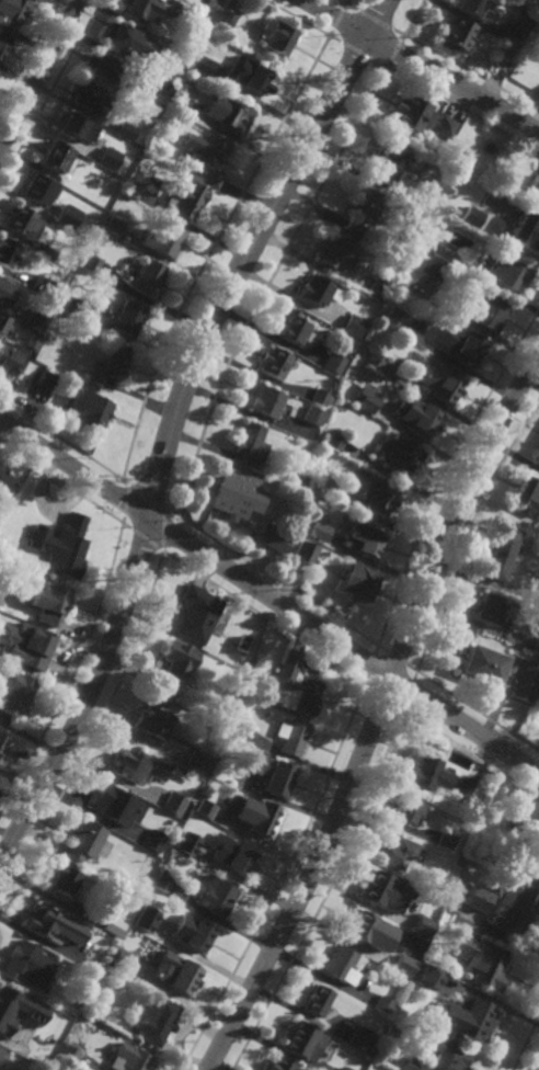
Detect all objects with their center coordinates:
building: (470, 5)
building: (210, 7)
building: (137, 8)
building: (529, 9)
building: (12, 11)
building: (226, 15)
building: (520, 20)
building: (192, 22)
building: (455, 33)
building: (276, 35)
building: (124, 39)
building: (4, 43)
building: (505, 52)
building: (182, 57)
road: (422, 65)
building: (199, 68)
building: (104, 70)
road: (41, 75)
building: (251, 78)
building: (152, 80)
building: (89, 94)
building: (182, 102)
building: (228, 112)
building: (421, 116)
building: (76, 127)
building: (125, 130)
building: (57, 157)
building: (108, 157)
building: (204, 158)
building: (388, 159)
building: (135, 185)
building: (38, 189)
building: (535, 192)
building: (88, 194)
building: (408, 196)
building: (185, 198)
building: (364, 207)
building: (68, 216)
building: (472, 217)
building: (24, 223)
building: (114, 226)
building: (531, 239)
building: (168, 240)
building: (429, 242)
building: (46, 251)
building: (9, 252)
building: (335, 253)
building: (92, 264)
building: (435, 269)
building: (507, 274)
building: (149, 277)
building: (37, 283)
building: (377, 289)
building: (316, 291)
building: (5, 293)
building: (73, 306)
building: (490, 312)
building: (129, 318)
building: (395, 319)
building: (36, 321)
building: (3, 323)
building: (354, 326)
building: (293, 328)
building: (34, 341)
building: (465, 346)
building: (11, 358)
building: (376, 360)
building: (275, 363)
building: (335, 363)
building: (111, 366)
building: (47, 379)
building: (440, 380)
building: (353, 394)
building: (320, 397)
building: (366, 399)
building: (267, 401)
building: (89, 408)
building: (313, 416)
building: (421, 417)
road: (172, 423)
building: (335, 442)
building: (250, 444)
building: (400, 454)
building: (537, 455)
building: (537, 459)
building: (4, 480)
building: (322, 482)
building: (527, 491)
building: (382, 498)
building: (229, 502)
traffic signals: (149, 517)
building: (309, 525)
building: (273, 537)
building: (368, 540)
building: (60, 543)
building: (498, 550)
building: (305, 553)
building: (347, 581)
road: (269, 595)
building: (49, 601)
road: (100, 603)
building: (489, 607)
building: (197, 613)
building: (242, 644)
building: (31, 645)
building: (536, 646)
building: (483, 663)
building: (175, 665)
building: (528, 681)
building: (296, 686)
building: (15, 692)
road: (376, 714)
building: (222, 716)
building: (152, 720)
building: (243, 733)
building: (290, 737)
building: (2, 741)
building: (195, 761)
building: (128, 765)
building: (271, 773)
building: (431, 773)
building: (108, 800)
building: (172, 804)
building: (200, 807)
building: (409, 807)
building: (259, 819)
building: (526, 826)
building: (447, 840)
building: (85, 841)
building: (152, 841)
building: (183, 845)
building: (395, 851)
building: (237, 858)
building: (462, 862)
building: (525, 867)
building: (65, 880)
building: (161, 881)
building: (375, 886)
building: (177, 893)
building: (215, 895)
building: (475, 899)
building: (513, 906)
building: (43, 921)
building: (142, 925)
building: (358, 925)
building: (114, 929)
building: (421, 931)
building: (196, 936)
building: (121, 959)
building: (22, 961)
building: (483, 961)
building: (94, 966)
building: (340, 966)
building: (406, 972)
building: (176, 974)
building: (431, 977)
building: (317, 1001)
building: (383, 1005)
building: (18, 1011)
building: (467, 1018)
building: (158, 1023)
building: (362, 1039)
building: (302, 1041)
building: (67, 1054)
building: (2, 1055)
building: (127, 1059)
building: (447, 1059)
building: (279, 1066)
building: (344, 1069)

